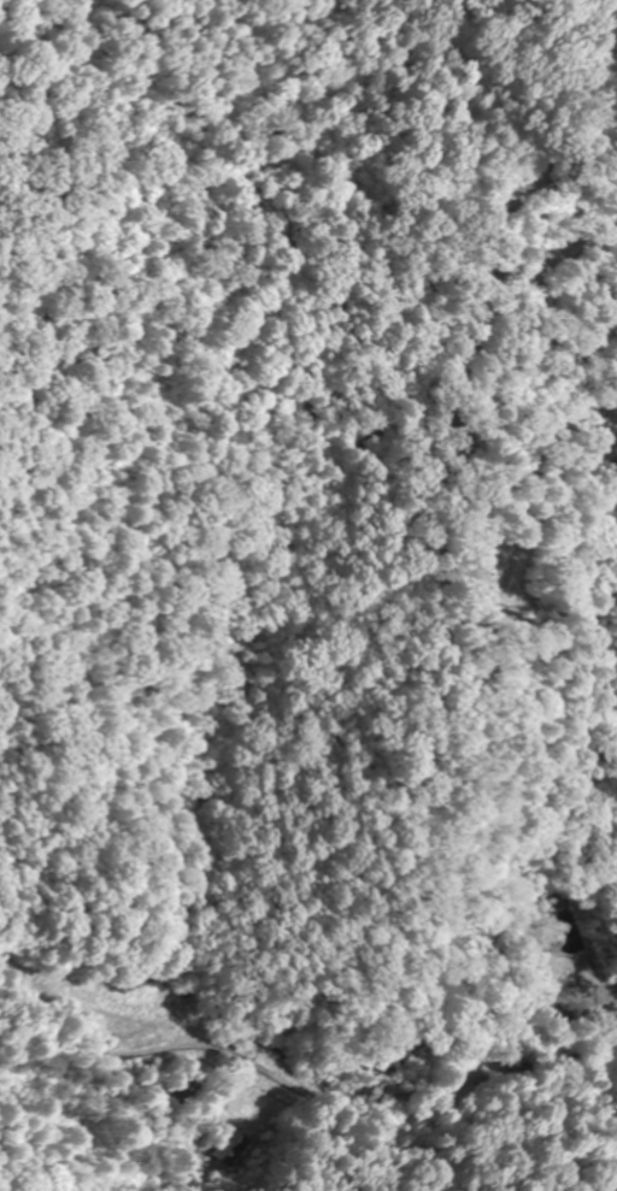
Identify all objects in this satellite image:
building: (188, 1092)
building: (233, 1145)

